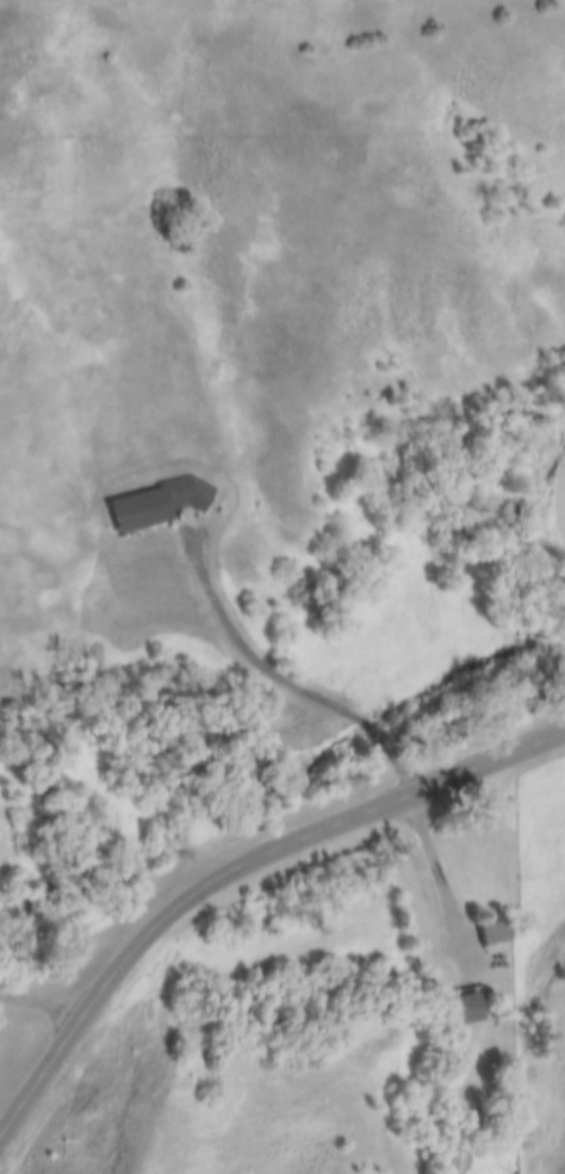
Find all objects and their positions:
building: (166, 506)
road: (347, 712)
road: (231, 865)
building: (493, 935)
building: (467, 1011)
building: (451, 1156)

